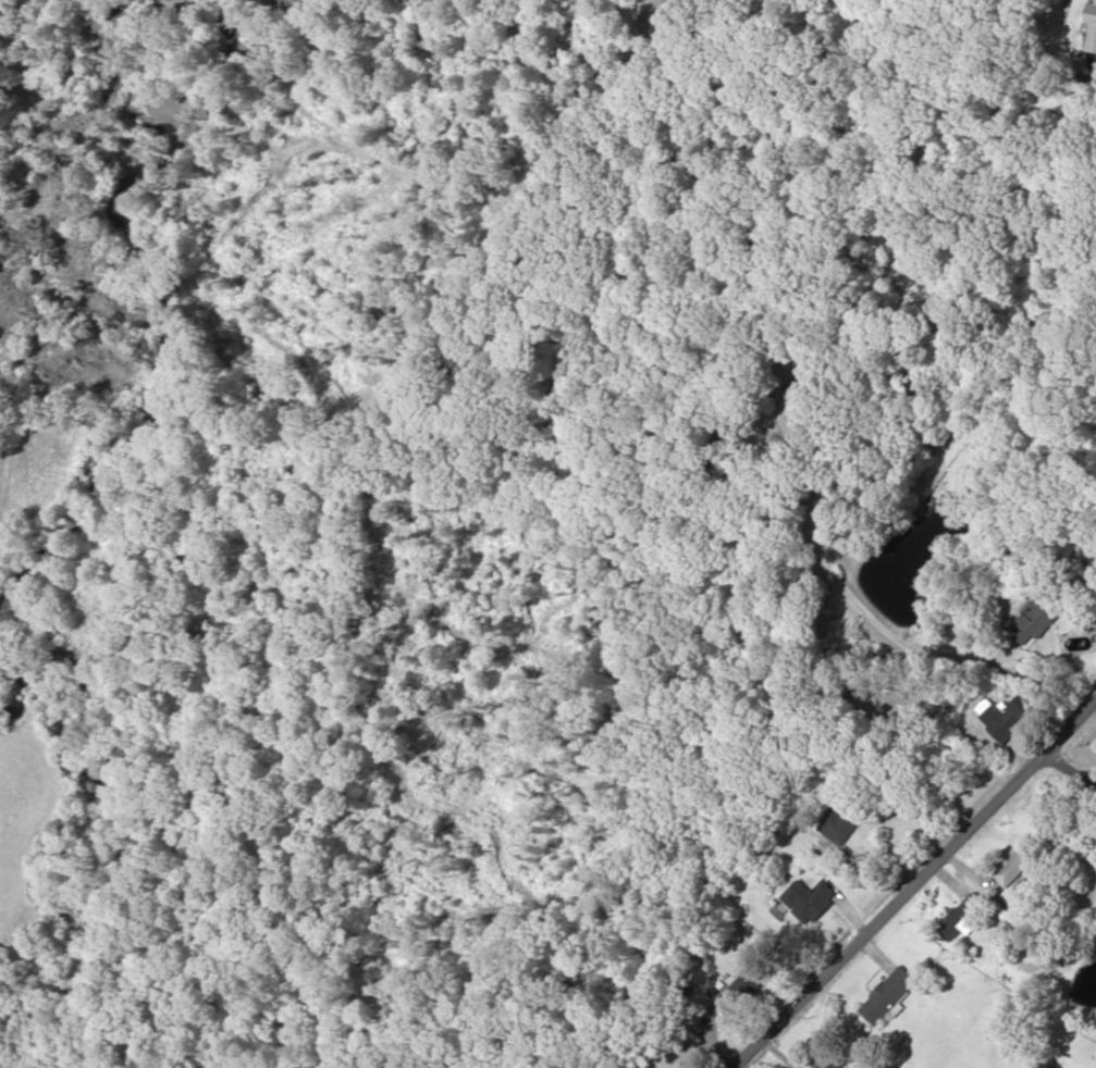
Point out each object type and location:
building: (1091, 28)
building: (781, 333)
building: (800, 397)
building: (1034, 620)
building: (1000, 721)
road: (1070, 782)
building: (845, 820)
building: (1010, 867)
road: (916, 894)
building: (809, 897)
building: (963, 917)
building: (889, 994)
building: (736, 997)
building: (834, 1060)

